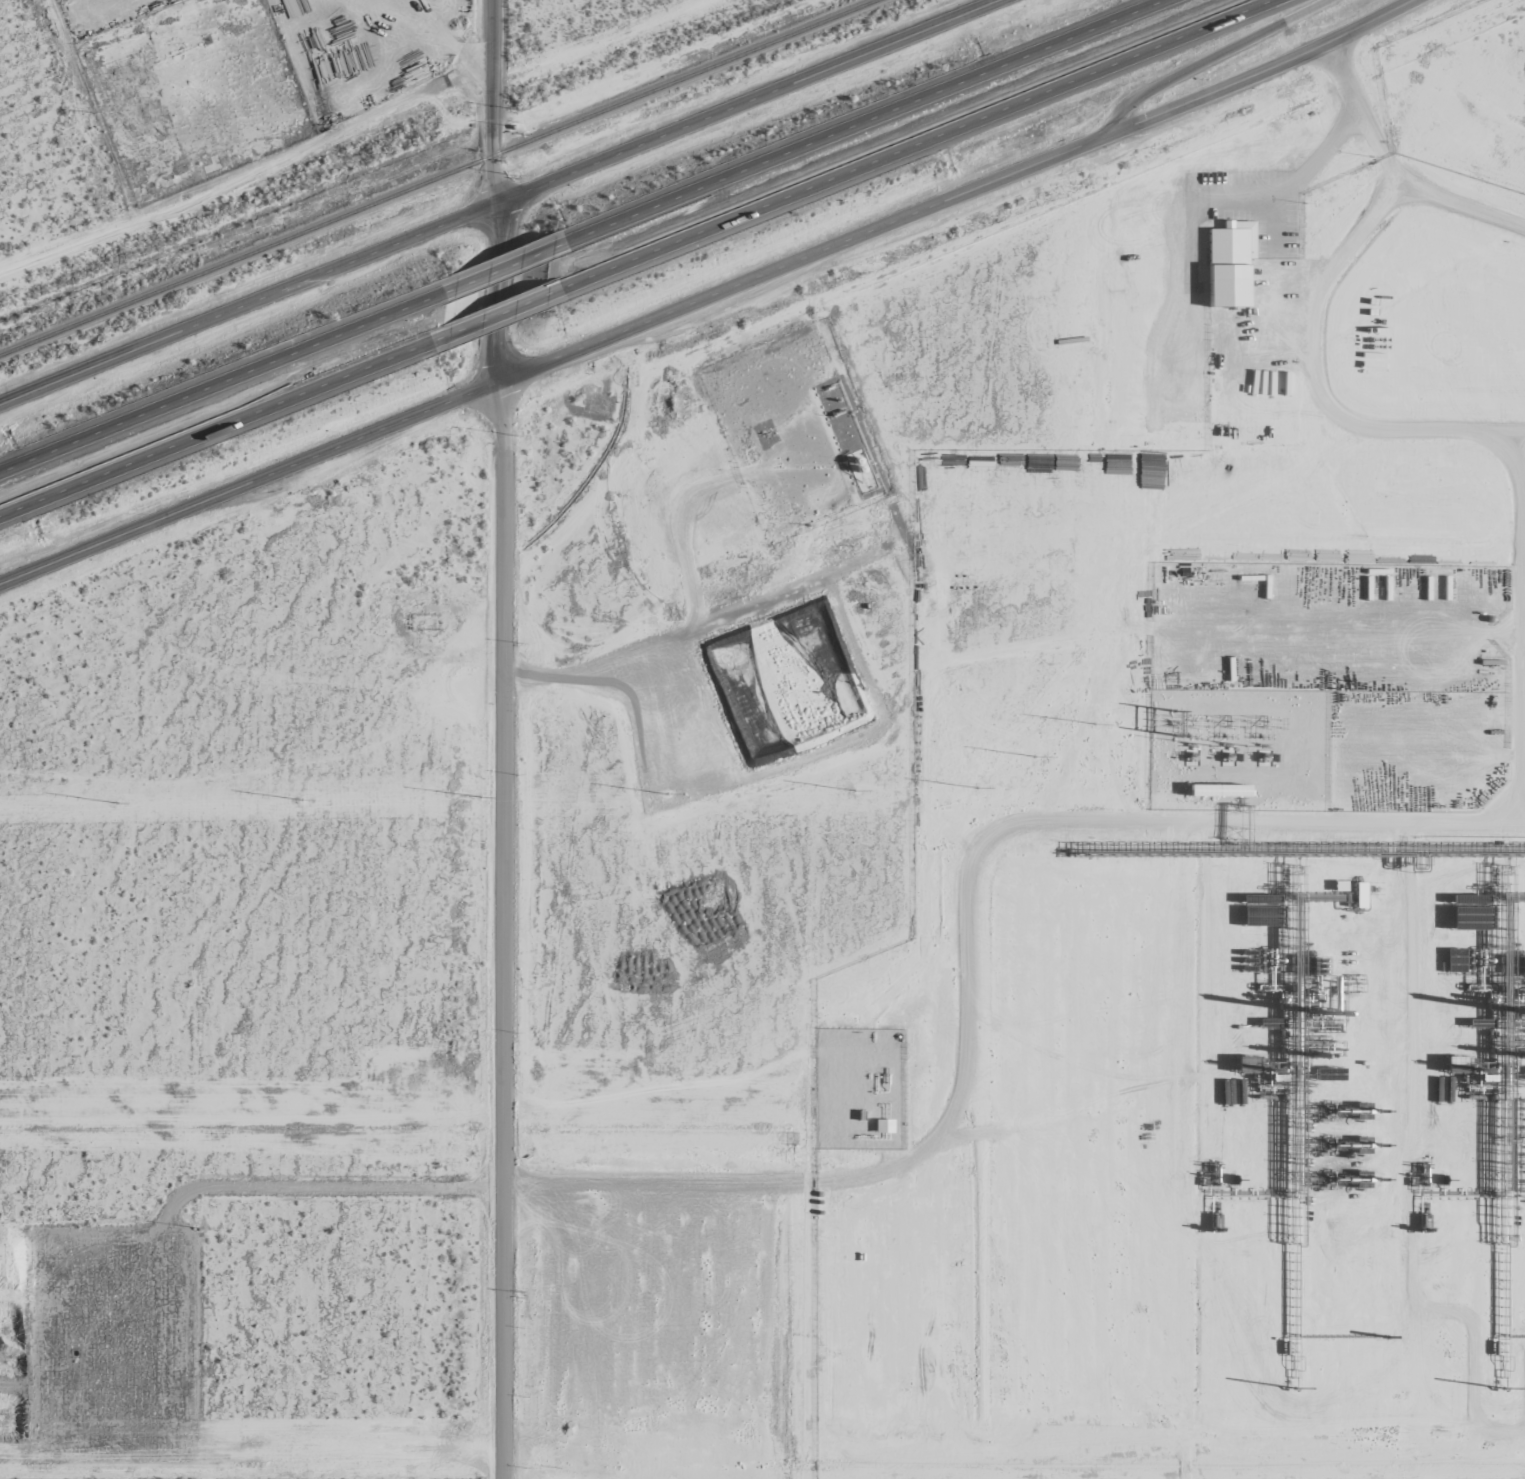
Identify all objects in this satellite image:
road: (431, 35)
road: (1213, 59)
road: (1270, 65)
road: (484, 106)
road: (864, 121)
road: (916, 144)
railway: (442, 179)
road: (246, 183)
road: (503, 207)
building: (1229, 263)
road: (499, 268)
road: (498, 298)
road: (500, 311)
road: (558, 362)
road: (218, 383)
road: (221, 426)
power substation: (1240, 751)
road: (496, 931)

